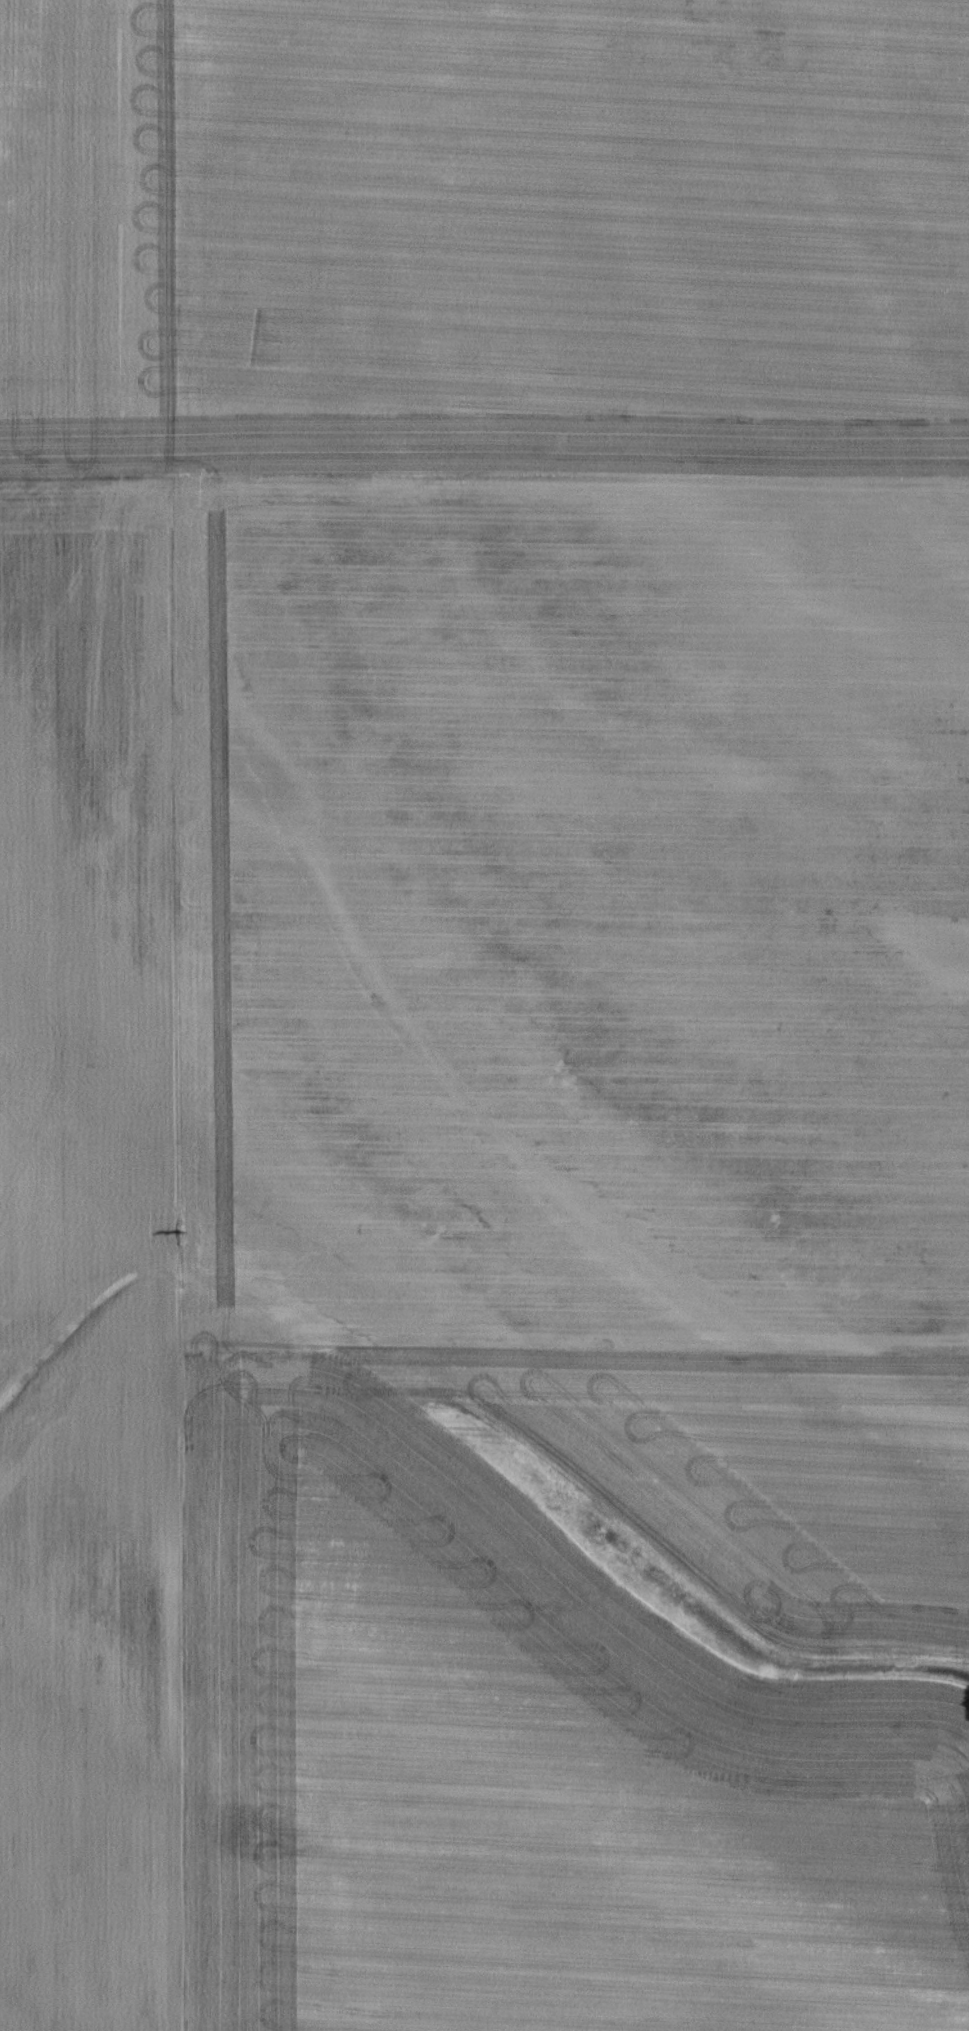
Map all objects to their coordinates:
road: (63, 479)

